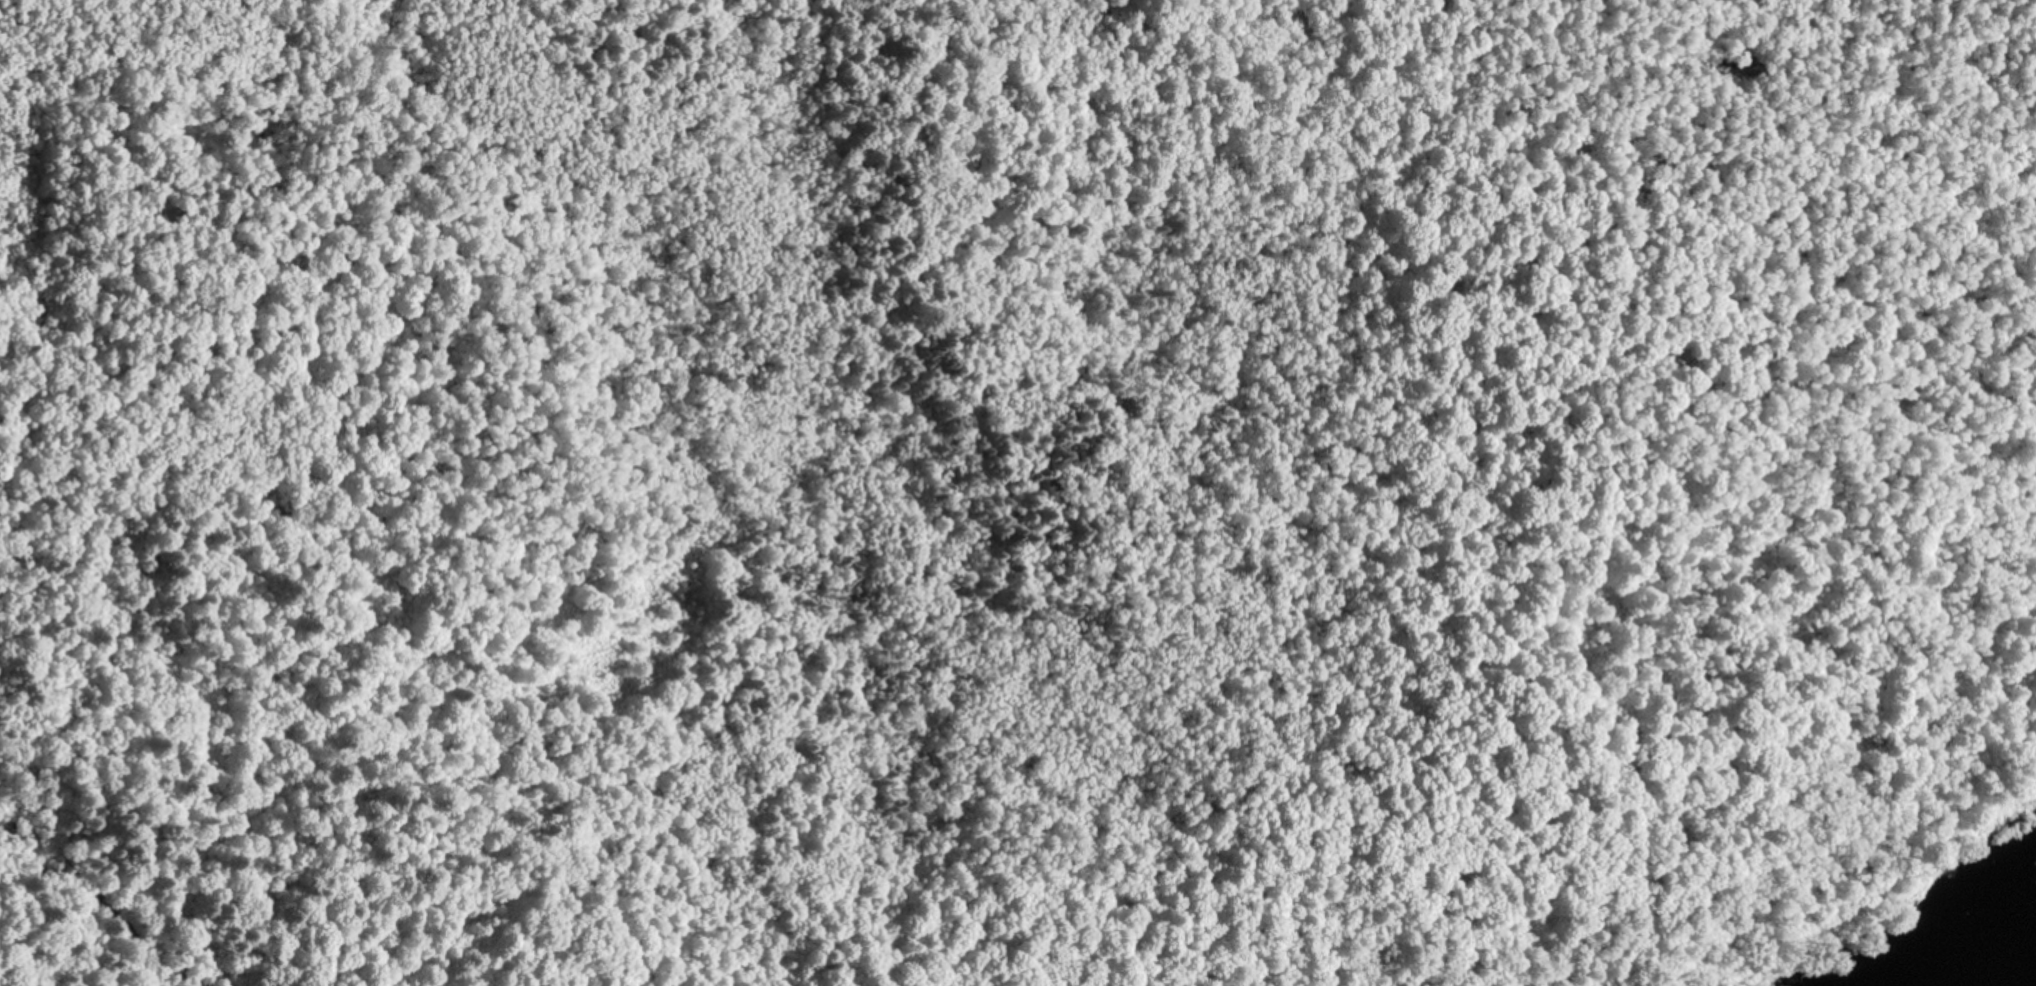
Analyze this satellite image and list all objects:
river: (1982, 943)

